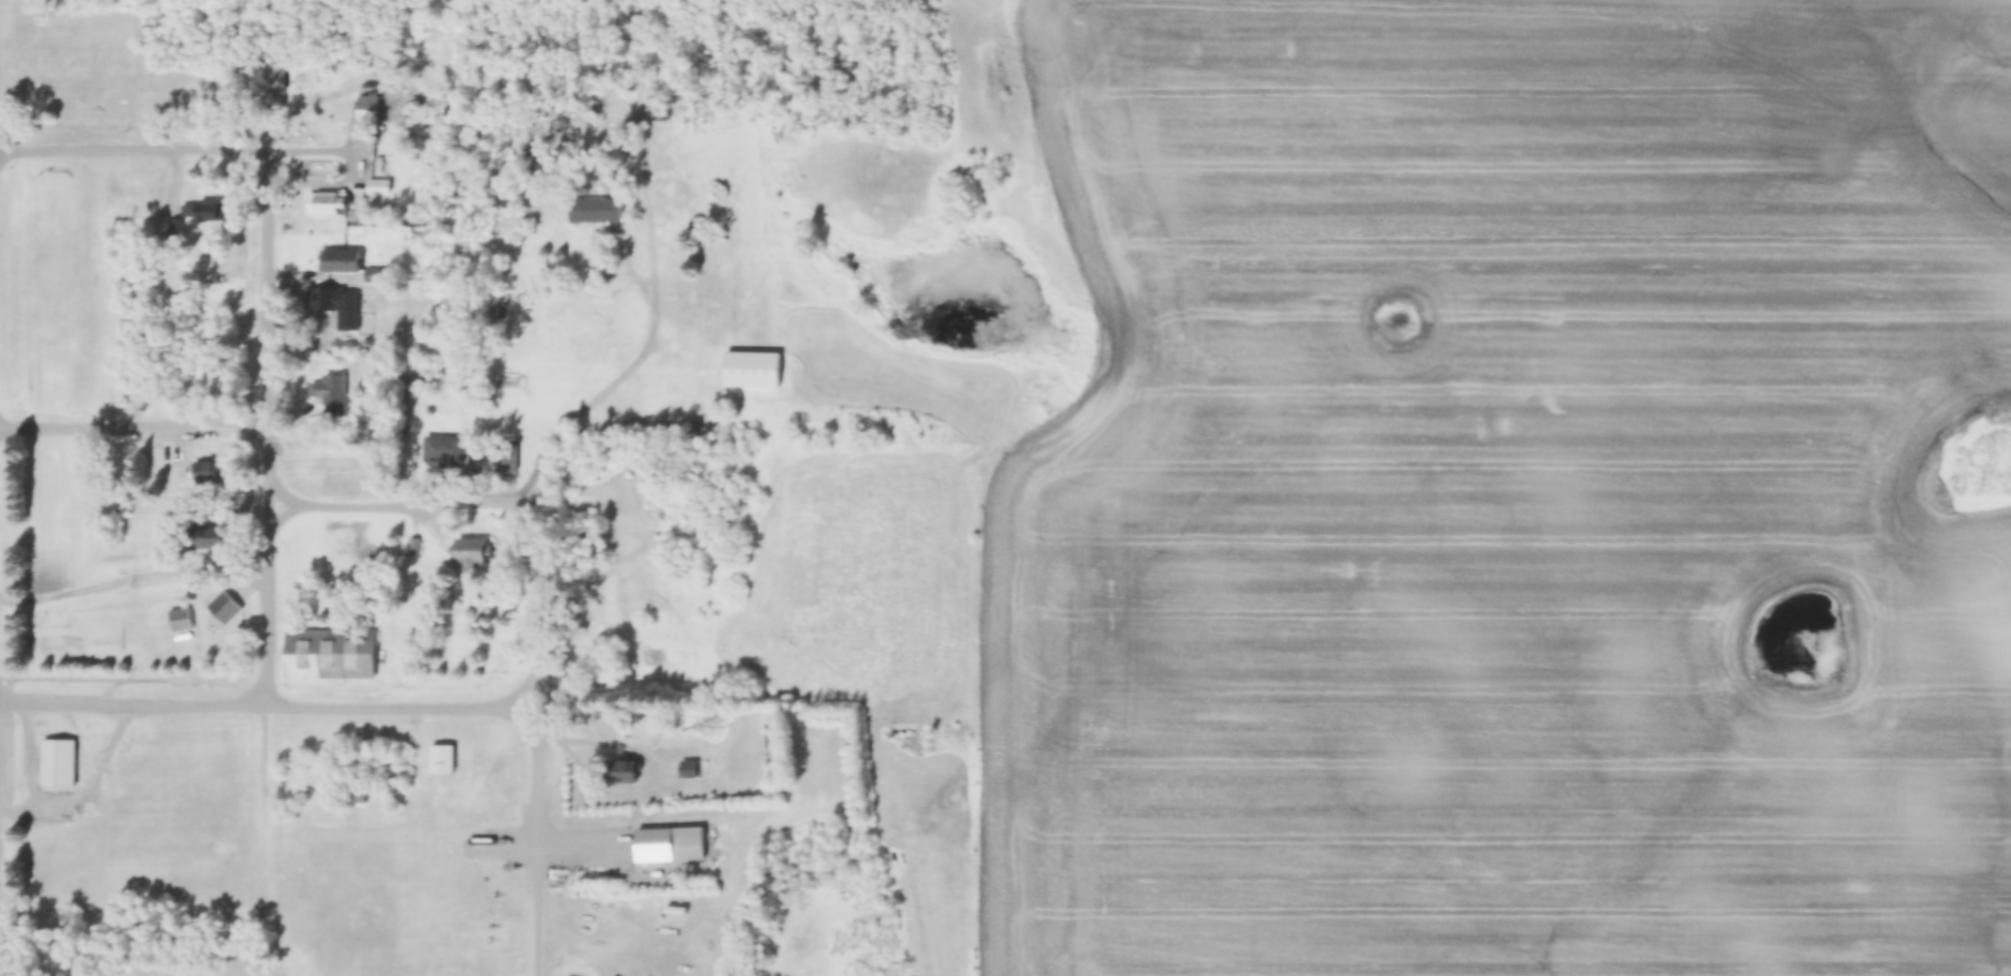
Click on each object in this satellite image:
building: (364, 103)
building: (656, 104)
road: (135, 155)
building: (377, 178)
building: (375, 188)
building: (328, 195)
building: (591, 202)
building: (203, 204)
building: (197, 214)
building: (174, 223)
building: (341, 254)
building: (375, 267)
road: (654, 271)
building: (215, 276)
building: (224, 294)
building: (336, 298)
building: (198, 321)
building: (341, 337)
building: (749, 363)
building: (330, 386)
building: (666, 425)
silo: (666, 425)
building: (679, 425)
silo: (679, 425)
building: (693, 425)
silo: (693, 425)
building: (708, 426)
silo: (708, 426)
road: (135, 428)
road: (270, 433)
building: (443, 441)
building: (474, 444)
building: (505, 451)
building: (207, 465)
road: (402, 511)
building: (207, 531)
building: (414, 538)
building: (468, 542)
road: (135, 583)
building: (426, 583)
building: (223, 600)
building: (469, 604)
road: (543, 609)
building: (179, 612)
building: (176, 622)
building: (328, 646)
road: (264, 709)
road: (639, 750)
building: (440, 752)
building: (58, 755)
building: (684, 762)
building: (621, 765)
building: (688, 772)
road: (268, 783)
road: (94, 799)
building: (496, 834)
building: (685, 838)
road: (603, 842)
road: (544, 843)

